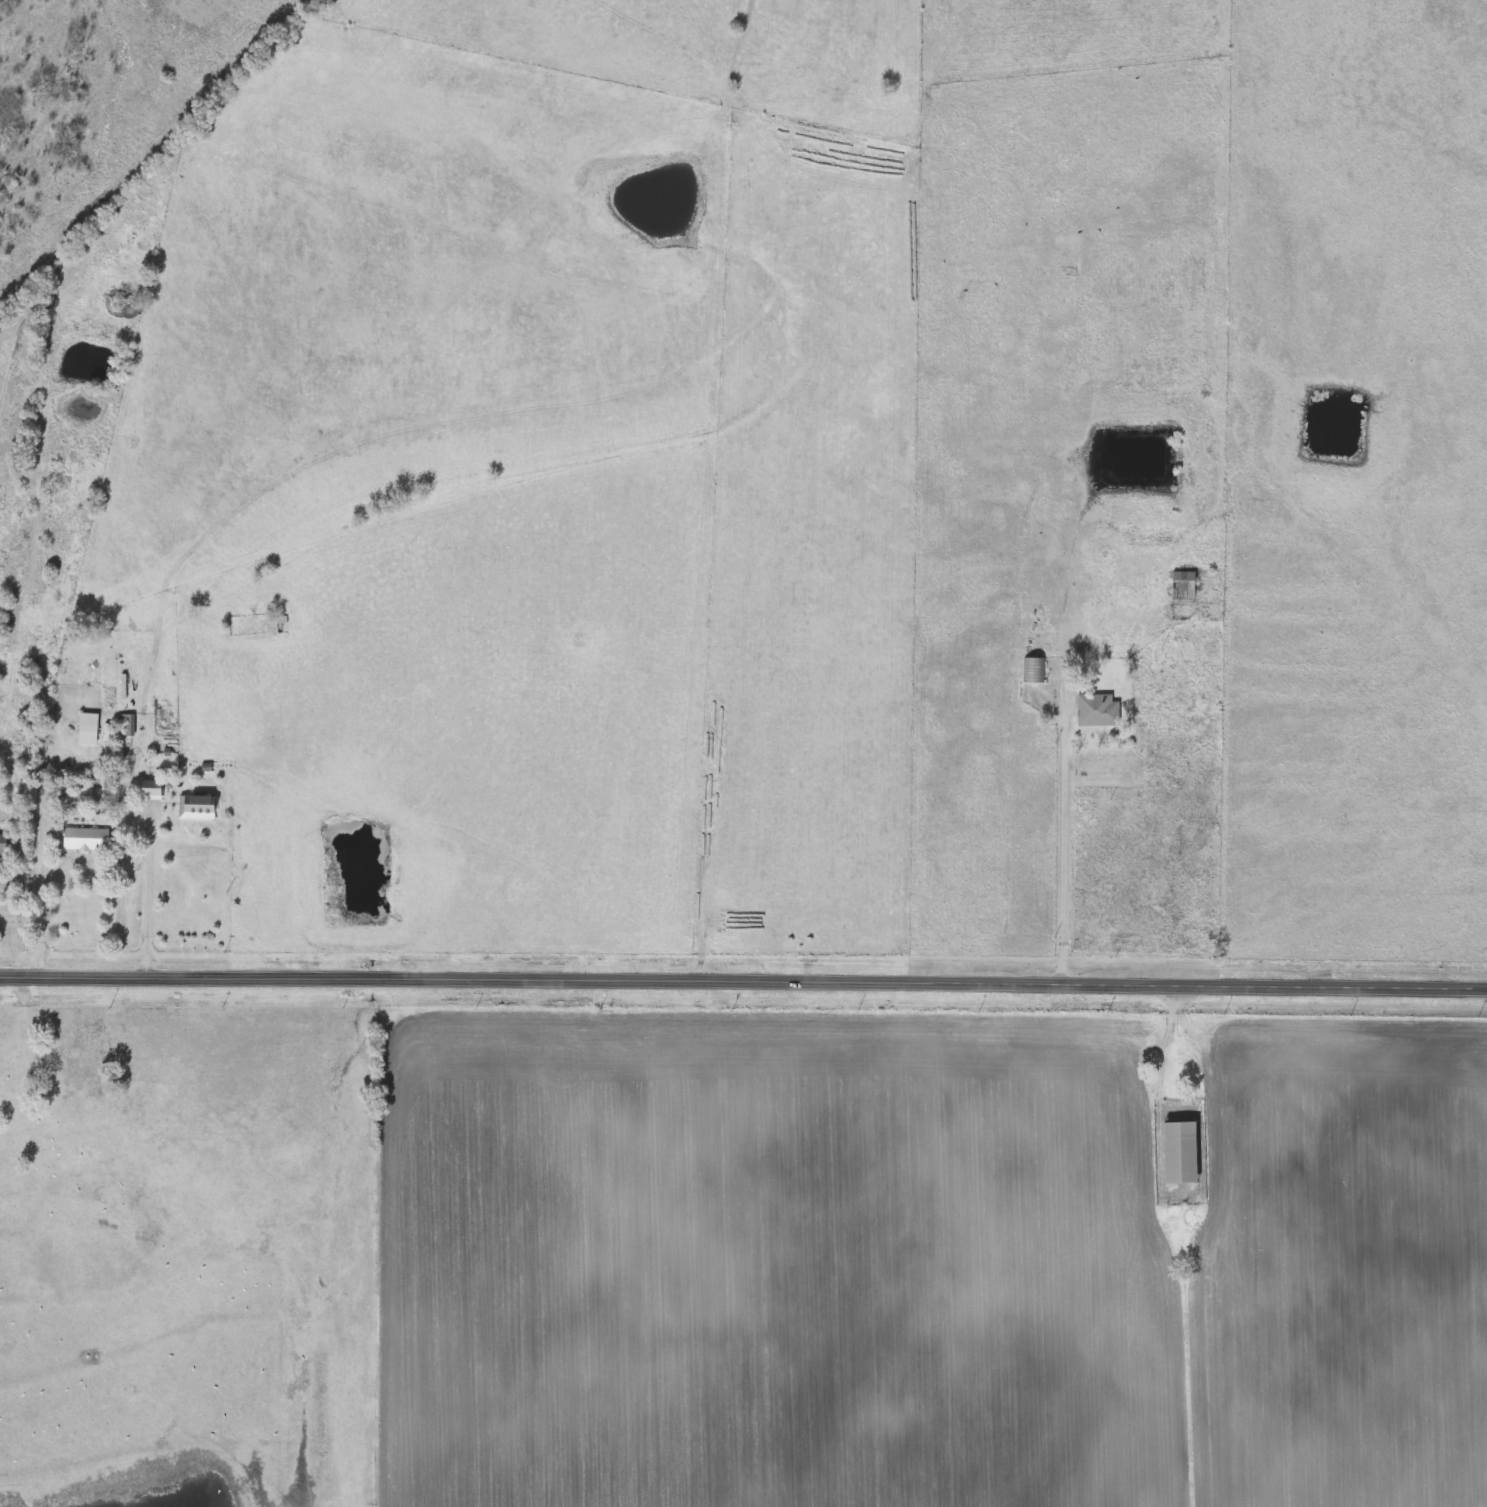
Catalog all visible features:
building: (1181, 585)
building: (276, 620)
building: (1032, 669)
building: (1096, 710)
building: (126, 724)
building: (87, 728)
building: (150, 791)
building: (195, 807)
building: (84, 839)
road: (1065, 839)
building: (2, 845)
road: (149, 899)
road: (44, 900)
road: (743, 979)
building: (14, 1048)
building: (0, 1108)
building: (83, 1150)
building: (2, 1152)
building: (1178, 1153)

